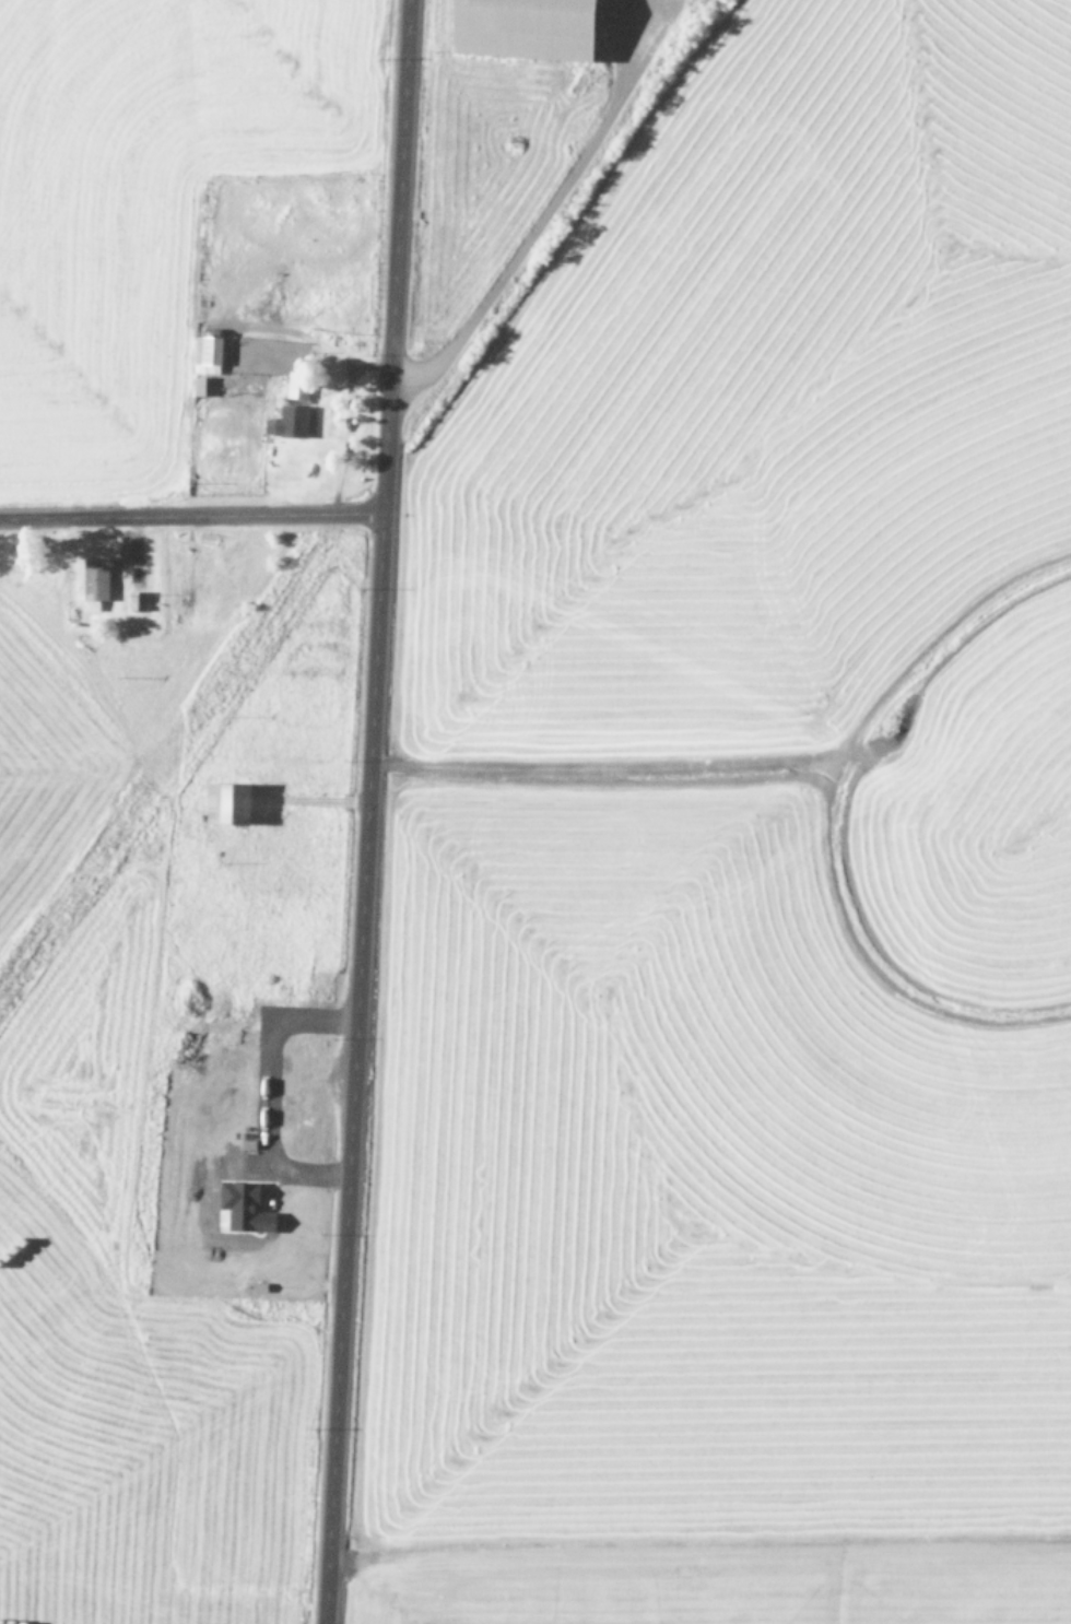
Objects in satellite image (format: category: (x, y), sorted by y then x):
building: (520, 27)
building: (205, 353)
building: (196, 386)
building: (295, 386)
building: (287, 422)
road: (332, 516)
road: (152, 519)
building: (93, 581)
building: (136, 602)
crop: (161, 781)
building: (224, 803)
road: (356, 812)
crop: (738, 823)
building: (246, 1145)
building: (242, 1205)
building: (258, 1286)

